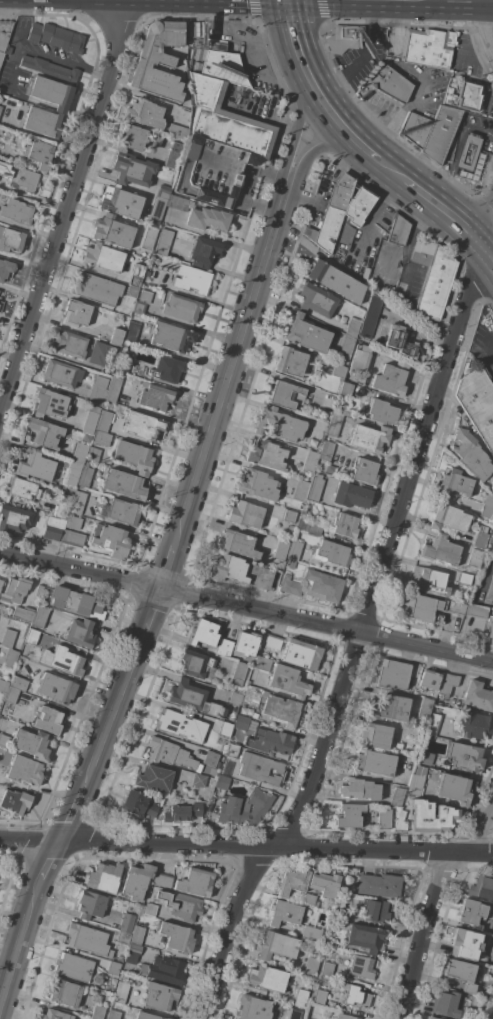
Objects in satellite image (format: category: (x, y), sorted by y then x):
road: (488, 0)
road: (486, 20)
building: (4, 35)
building: (56, 37)
building: (345, 37)
building: (203, 38)
building: (428, 47)
building: (11, 50)
building: (158, 61)
building: (49, 68)
building: (387, 84)
building: (50, 92)
building: (464, 96)
road: (327, 101)
road: (300, 104)
building: (0, 108)
building: (144, 113)
building: (42, 122)
building: (414, 128)
building: (177, 131)
building: (440, 133)
building: (220, 136)
building: (131, 138)
road: (339, 148)
building: (468, 152)
building: (39, 153)
building: (173, 156)
building: (132, 169)
building: (19, 177)
building: (163, 191)
building: (120, 202)
building: (176, 203)
road: (65, 205)
road: (445, 209)
building: (16, 211)
building: (333, 212)
building: (207, 218)
road: (374, 219)
building: (153, 223)
building: (112, 231)
building: (399, 231)
building: (10, 239)
building: (162, 241)
road: (405, 245)
road: (489, 250)
building: (204, 252)
building: (423, 252)
building: (103, 257)
road: (387, 264)
building: (5, 269)
building: (145, 273)
building: (136, 275)
building: (191, 279)
building: (335, 281)
building: (435, 286)
building: (96, 288)
building: (132, 291)
building: (0, 292)
building: (316, 300)
building: (142, 301)
building: (1, 305)
building: (181, 308)
building: (76, 313)
building: (370, 316)
building: (352, 328)
building: (132, 332)
building: (307, 334)
building: (116, 337)
building: (171, 337)
building: (399, 341)
building: (69, 344)
building: (346, 347)
building: (99, 354)
building: (359, 360)
building: (125, 362)
building: (291, 362)
road: (232, 365)
building: (167, 369)
building: (338, 371)
building: (61, 373)
building: (391, 379)
building: (112, 389)
building: (346, 389)
building: (97, 390)
building: (286, 395)
building: (154, 397)
building: (52, 403)
building: (478, 403)
building: (382, 411)
building: (90, 418)
building: (103, 421)
building: (279, 424)
building: (334, 424)
building: (143, 425)
building: (44, 432)
building: (100, 438)
building: (369, 438)
building: (326, 450)
building: (79, 453)
building: (94, 454)
building: (470, 454)
building: (266, 455)
building: (134, 456)
building: (310, 461)
building: (35, 466)
building: (364, 471)
building: (73, 474)
building: (85, 475)
building: (454, 482)
building: (124, 484)
building: (258, 485)
building: (491, 487)
building: (22, 488)
building: (315, 488)
building: (300, 490)
building: (351, 495)
building: (78, 502)
building: (63, 505)
building: (487, 507)
building: (123, 511)
building: (246, 514)
building: (289, 515)
building: (448, 517)
building: (14, 518)
building: (71, 522)
building: (345, 525)
building: (312, 527)
building: (53, 528)
building: (479, 537)
building: (72, 538)
building: (111, 540)
building: (239, 543)
building: (280, 550)
building: (295, 550)
building: (439, 550)
building: (334, 553)
building: (474, 558)
building: (292, 564)
road: (168, 566)
building: (228, 569)
building: (261, 577)
building: (0, 579)
building: (463, 579)
building: (428, 581)
building: (1, 583)
building: (322, 585)
building: (290, 586)
building: (14, 590)
building: (39, 590)
building: (489, 590)
building: (77, 603)
road: (246, 608)
building: (427, 608)
building: (476, 611)
building: (23, 613)
road: (150, 613)
building: (40, 616)
road: (363, 624)
building: (490, 629)
building: (80, 633)
building: (203, 633)
building: (32, 636)
building: (8, 638)
building: (271, 641)
building: (246, 643)
building: (223, 648)
building: (301, 654)
building: (9, 659)
building: (62, 660)
building: (194, 663)
building: (262, 664)
building: (238, 673)
building: (392, 674)
building: (428, 680)
building: (288, 681)
building: (18, 683)
building: (447, 684)
building: (3, 686)
building: (56, 688)
building: (11, 694)
building: (478, 696)
building: (192, 698)
building: (235, 699)
building: (274, 706)
building: (424, 707)
building: (389, 708)
road: (109, 716)
building: (47, 720)
building: (240, 722)
building: (433, 724)
building: (180, 725)
building: (476, 725)
building: (224, 729)
building: (375, 736)
building: (3, 740)
building: (274, 740)
building: (32, 744)
building: (396, 746)
building: (231, 750)
building: (169, 753)
building: (465, 756)
building: (210, 758)
building: (425, 758)
building: (375, 763)
building: (260, 769)
building: (24, 770)
building: (154, 778)
building: (199, 780)
building: (221, 782)
building: (415, 785)
building: (454, 788)
building: (359, 789)
building: (397, 797)
building: (15, 801)
building: (138, 805)
building: (244, 807)
building: (182, 813)
building: (349, 816)
building: (431, 817)
road: (69, 818)
building: (384, 819)
building: (401, 822)
road: (246, 847)
road: (49, 865)
building: (104, 877)
building: (162, 879)
building: (137, 881)
building: (196, 882)
building: (292, 882)
building: (324, 885)
building: (379, 885)
building: (482, 886)
building: (305, 898)
building: (90, 905)
building: (184, 906)
road: (432, 908)
building: (148, 909)
building: (375, 911)
building: (284, 913)
building: (341, 913)
building: (471, 913)
building: (127, 923)
building: (311, 933)
building: (137, 935)
building: (177, 937)
building: (365, 937)
building: (123, 938)
building: (88, 939)
building: (465, 943)
building: (276, 945)
road: (19, 952)
building: (132, 953)
building: (120, 958)
building: (311, 966)
building: (361, 966)
building: (73, 967)
building: (113, 968)
building: (327, 968)
building: (164, 970)
building: (461, 974)
building: (267, 978)
building: (136, 983)
building: (121, 992)
building: (64, 993)
building: (356, 995)
building: (159, 996)
building: (301, 997)
building: (319, 997)
building: (445, 1004)
building: (253, 1008)
building: (98, 1012)
building: (292, 1013)
building: (114, 1014)
building: (54, 1015)
building: (148, 1016)
building: (345, 1016)
building: (431, 1018)

